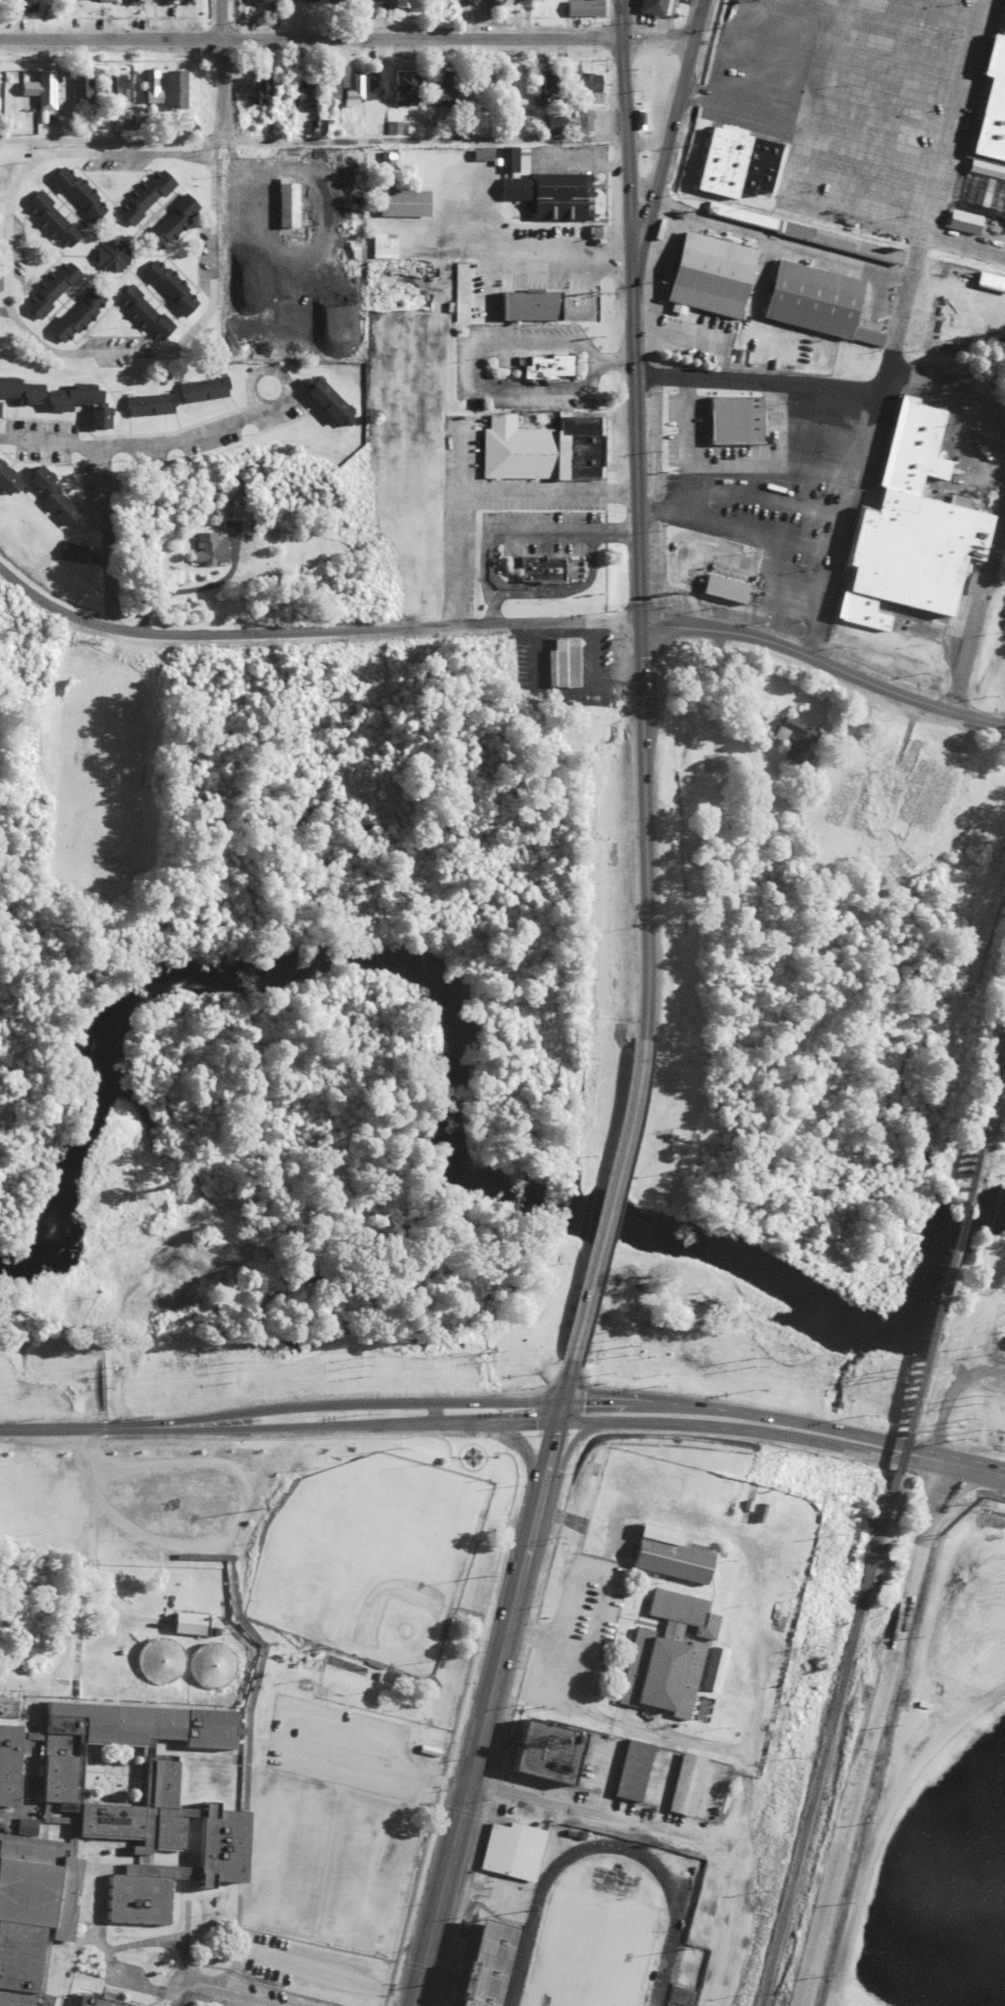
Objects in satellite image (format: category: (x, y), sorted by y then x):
road: (915, 14)
road: (346, 35)
road: (894, 42)
road: (221, 69)
road: (884, 78)
road: (809, 86)
road: (740, 105)
road: (623, 115)
road: (875, 115)
road: (672, 117)
road: (312, 136)
road: (867, 148)
road: (575, 167)
road: (784, 185)
road: (961, 246)
road: (21, 326)
road: (894, 326)
road: (262, 370)
road: (756, 381)
road: (820, 432)
road: (195, 435)
road: (458, 458)
road: (725, 464)
road: (815, 470)
road: (105, 483)
road: (742, 493)
road: (483, 494)
road: (1004, 504)
road: (736, 531)
road: (310, 626)
road: (638, 642)
road: (824, 658)
railway: (995, 1085)
road: (607, 1208)
railway: (936, 1316)
road: (565, 1381)
road: (336, 1404)
road: (699, 1405)
road: (558, 1411)
road: (573, 1422)
road: (333, 1425)
road: (712, 1427)
road: (56, 1428)
road: (520, 1442)
road: (549, 1446)
road: (568, 1447)
road: (919, 1455)
park: (369, 1560)
road: (869, 1732)
road: (478, 1738)
railway: (824, 1756)
road: (575, 1803)
stadium: (573, 1918)
road: (333, 1975)
road: (241, 1993)
road: (187, 1996)

